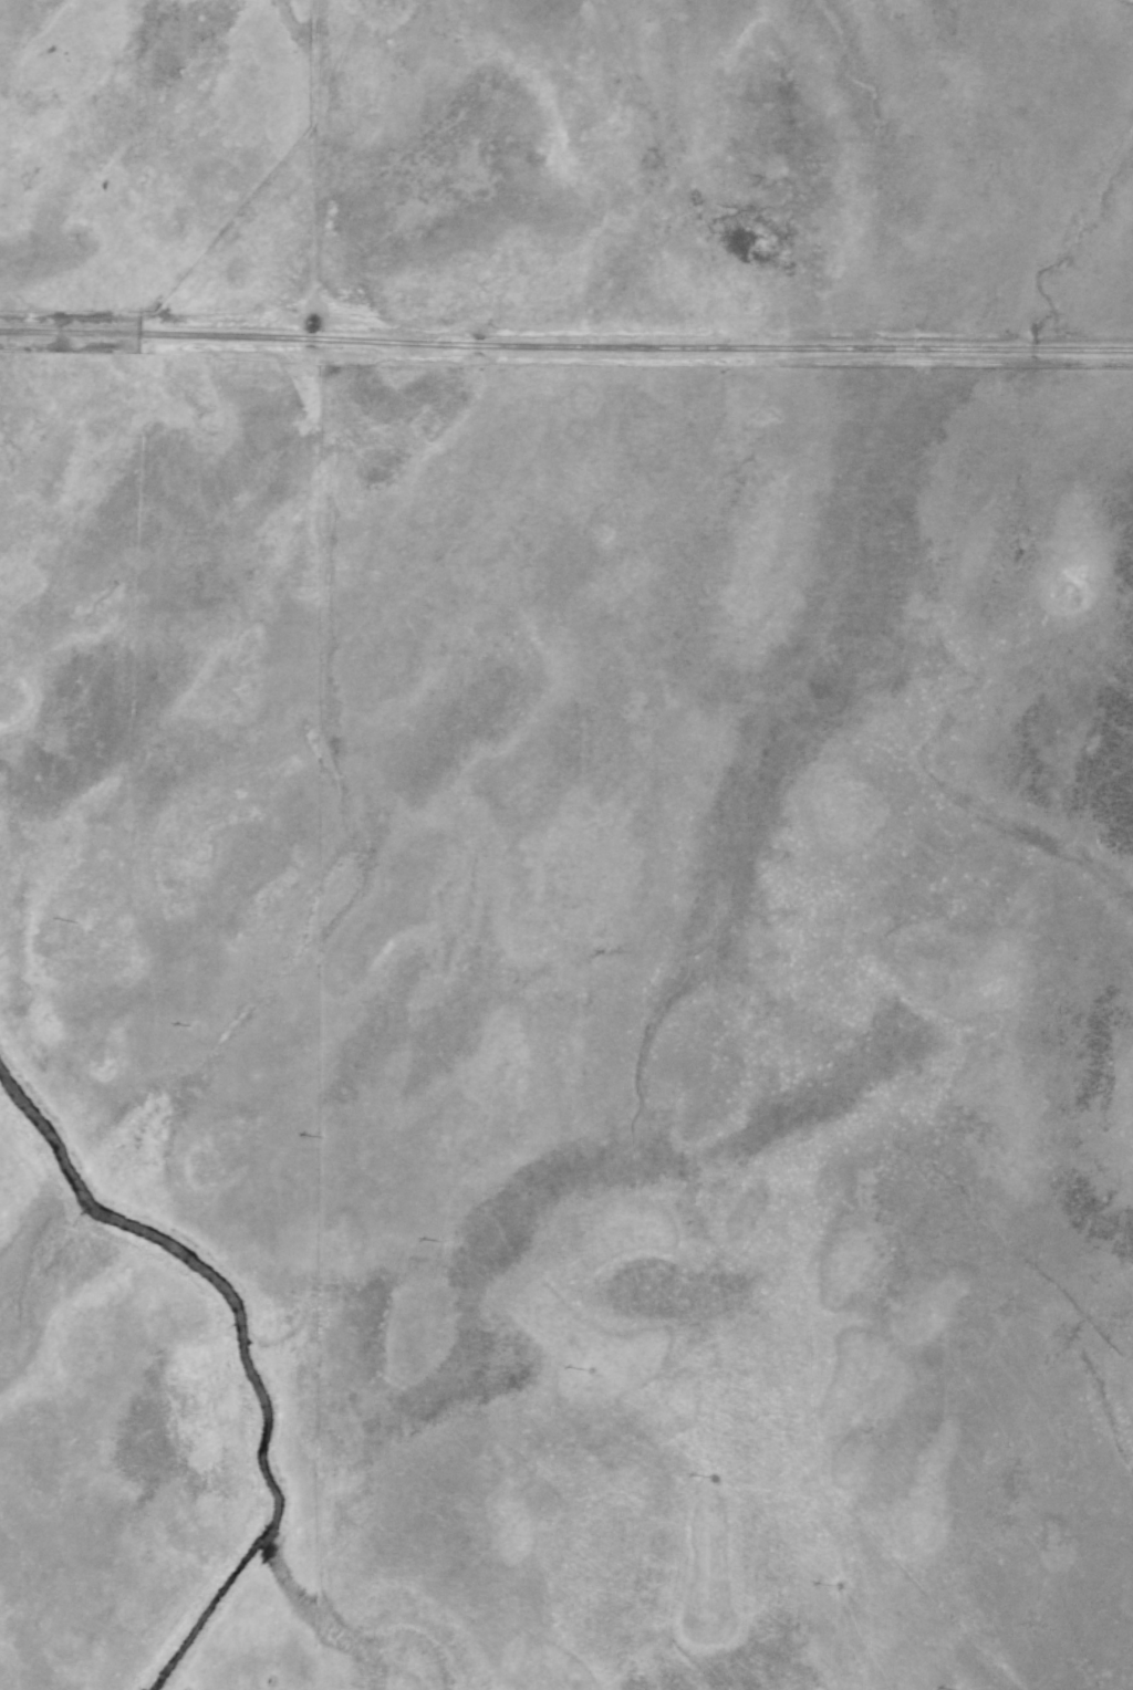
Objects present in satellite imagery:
road: (565, 342)
crop: (560, 813)

